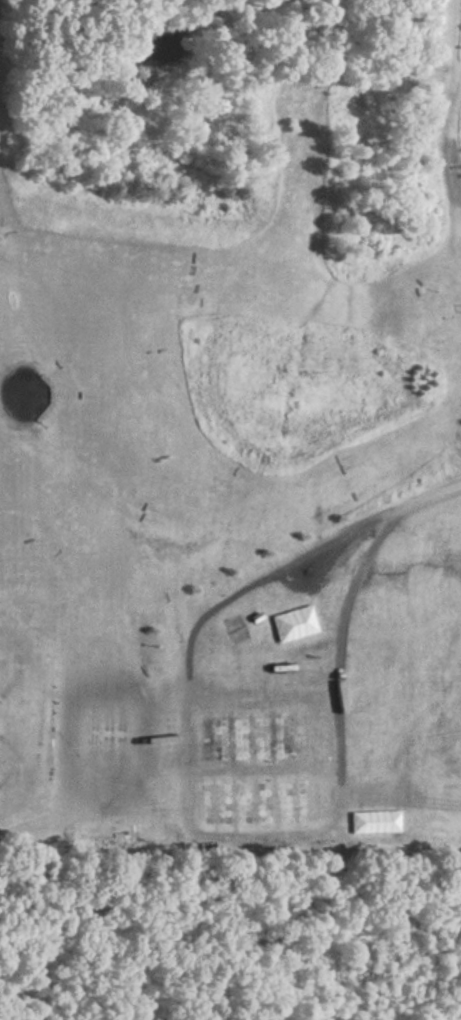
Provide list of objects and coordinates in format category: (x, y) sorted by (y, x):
road: (432, 498)
road: (274, 574)
road: (341, 637)

